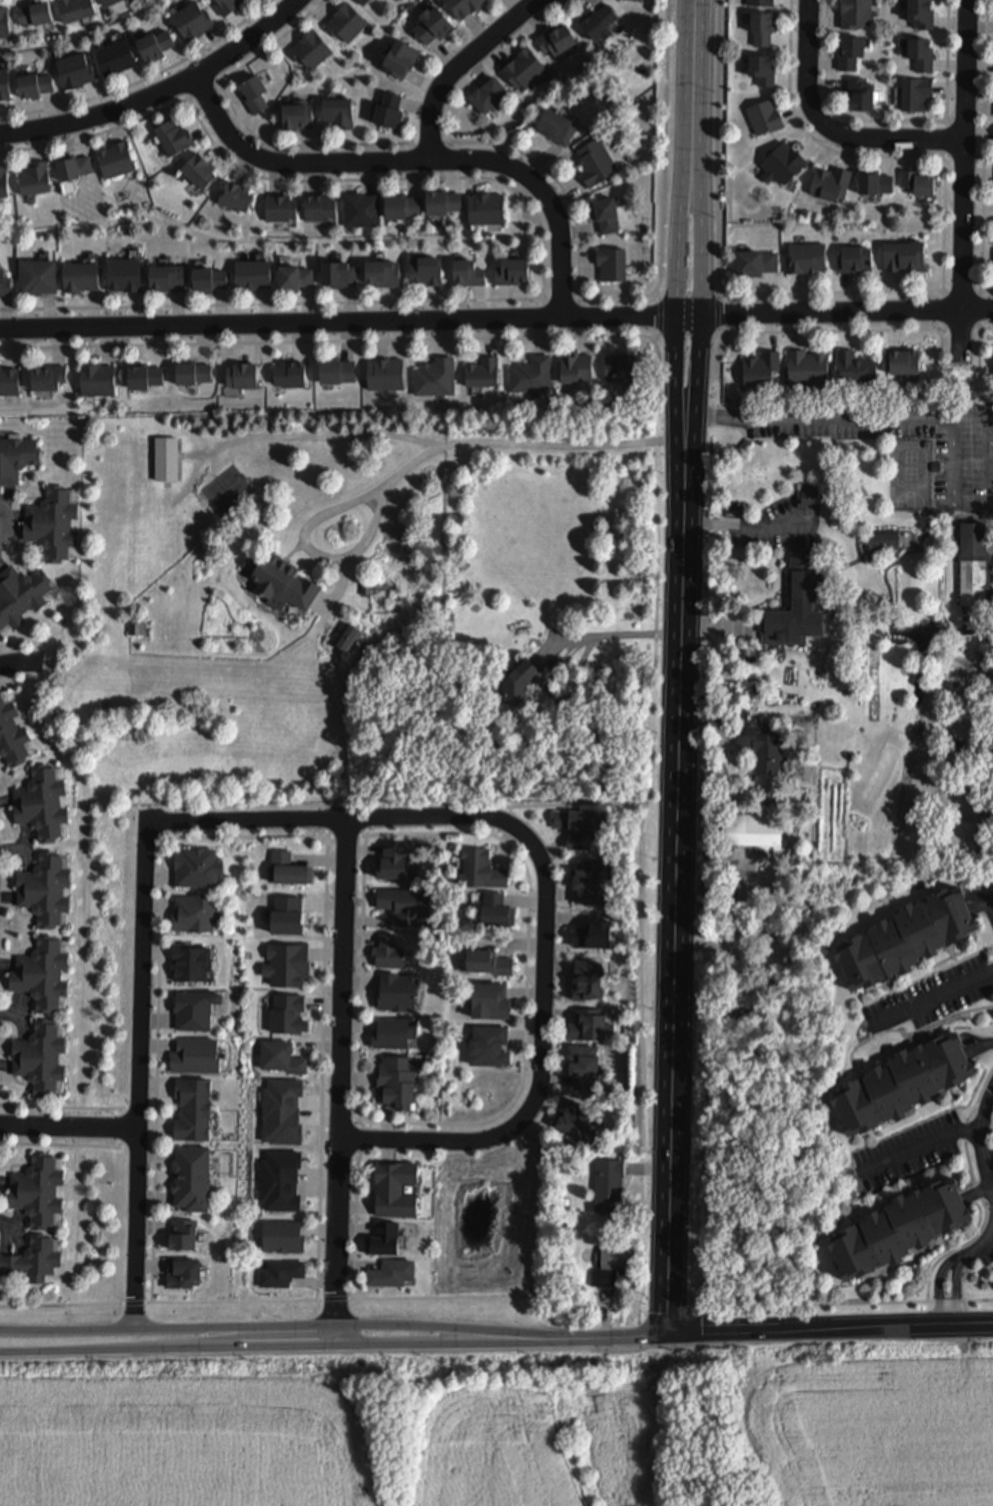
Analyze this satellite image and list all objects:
building: (633, 0)
building: (108, 1)
building: (363, 1)
building: (760, 1)
building: (226, 4)
building: (463, 6)
building: (75, 8)
building: (34, 11)
building: (855, 12)
building: (922, 12)
building: (193, 18)
building: (347, 19)
building: (600, 20)
building: (4, 21)
building: (432, 23)
building: (763, 25)
building: (556, 38)
road: (696, 41)
building: (154, 43)
building: (311, 48)
building: (850, 50)
building: (922, 51)
building: (116, 55)
building: (400, 57)
road: (457, 65)
building: (763, 67)
building: (74, 68)
building: (524, 68)
road: (145, 80)
road: (220, 82)
building: (3, 83)
building: (34, 83)
road: (202, 89)
building: (254, 91)
building: (861, 91)
building: (489, 92)
building: (915, 92)
road: (159, 93)
road: (188, 100)
building: (389, 108)
building: (338, 110)
building: (298, 114)
building: (764, 116)
road: (892, 120)
road: (947, 122)
road: (244, 124)
building: (559, 125)
road: (951, 125)
road: (827, 130)
building: (173, 134)
road: (698, 136)
road: (431, 145)
road: (984, 148)
road: (962, 154)
road: (966, 156)
building: (115, 158)
road: (418, 159)
road: (946, 159)
building: (594, 160)
building: (782, 162)
building: (72, 165)
building: (198, 168)
building: (33, 176)
building: (2, 180)
building: (918, 180)
building: (875, 181)
building: (831, 182)
building: (235, 195)
building: (442, 200)
building: (319, 204)
building: (402, 204)
building: (280, 206)
building: (486, 206)
building: (361, 208)
building: (605, 213)
road: (542, 230)
building: (905, 254)
building: (806, 256)
building: (855, 257)
building: (756, 260)
building: (611, 262)
building: (426, 268)
building: (512, 269)
building: (383, 271)
building: (468, 271)
building: (253, 272)
building: (123, 273)
building: (338, 273)
building: (35, 275)
building: (79, 275)
building: (166, 275)
building: (294, 276)
building: (208, 278)
building: (4, 282)
road: (677, 284)
road: (981, 290)
road: (943, 291)
road: (891, 292)
road: (723, 294)
road: (946, 295)
road: (644, 296)
road: (658, 296)
road: (581, 298)
road: (543, 299)
road: (562, 302)
road: (978, 309)
road: (720, 313)
road: (660, 317)
road: (481, 319)
road: (981, 328)
road: (942, 329)
road: (831, 331)
road: (722, 333)
road: (657, 338)
road: (703, 339)
road: (964, 343)
road: (980, 346)
building: (905, 360)
building: (854, 365)
building: (576, 366)
building: (621, 366)
building: (808, 366)
building: (761, 367)
building: (336, 369)
building: (191, 371)
building: (482, 371)
building: (290, 372)
building: (385, 372)
building: (531, 373)
building: (241, 374)
building: (144, 375)
building: (47, 376)
building: (435, 376)
building: (96, 378)
building: (8, 380)
road: (812, 413)
road: (289, 434)
building: (745, 444)
building: (15, 457)
building: (167, 457)
road: (421, 457)
building: (936, 465)
building: (810, 493)
road: (991, 503)
road: (659, 511)
building: (51, 522)
road: (744, 522)
road: (5, 525)
building: (881, 538)
building: (973, 563)
building: (284, 581)
building: (20, 593)
building: (795, 607)
road: (717, 624)
building: (136, 627)
road: (605, 632)
building: (349, 637)
road: (21, 644)
building: (738, 656)
road: (20, 662)
building: (859, 677)
building: (519, 678)
road: (19, 680)
building: (955, 682)
building: (13, 730)
building: (918, 730)
building: (959, 744)
building: (760, 746)
building: (41, 802)
road: (563, 805)
road: (336, 818)
building: (575, 826)
building: (750, 829)
building: (196, 866)
building: (480, 868)
building: (287, 869)
building: (586, 880)
road: (530, 889)
building: (41, 892)
building: (405, 903)
road: (991, 905)
building: (495, 910)
road: (677, 910)
building: (193, 913)
building: (289, 916)
road: (734, 921)
building: (905, 939)
building: (388, 951)
building: (194, 963)
building: (286, 964)
building: (490, 965)
building: (39, 977)
road: (924, 978)
road: (890, 989)
building: (399, 991)
road: (930, 999)
building: (490, 1000)
road: (915, 1007)
building: (732, 1012)
building: (286, 1014)
building: (588, 1025)
building: (394, 1033)
road: (908, 1033)
road: (980, 1045)
building: (488, 1046)
building: (198, 1056)
building: (280, 1056)
road: (323, 1057)
road: (360, 1057)
building: (38, 1059)
road: (158, 1061)
building: (583, 1066)
road: (543, 1069)
road: (141, 1070)
road: (339, 1073)
building: (396, 1081)
building: (902, 1083)
road: (980, 1097)
road: (64, 1108)
road: (140, 1108)
road: (154, 1108)
building: (193, 1109)
road: (121, 1111)
building: (576, 1120)
road: (70, 1126)
road: (121, 1127)
road: (966, 1132)
road: (981, 1139)
road: (63, 1145)
road: (919, 1147)
road: (341, 1158)
road: (989, 1159)
road: (969, 1161)
building: (191, 1177)
building: (609, 1185)
building: (37, 1187)
road: (978, 1190)
road: (979, 1192)
road: (989, 1221)
building: (899, 1228)
park: (493, 1234)
building: (281, 1235)
building: (384, 1239)
road: (978, 1247)
road: (956, 1250)
building: (29, 1254)
building: (612, 1264)
building: (280, 1271)
building: (391, 1273)
building: (186, 1276)
road: (940, 1288)
road: (956, 1292)
road: (265, 1299)
road: (975, 1300)
road: (948, 1301)
road: (875, 1302)
road: (290, 1325)
road: (786, 1328)
road: (290, 1345)
crop: (509, 1426)

